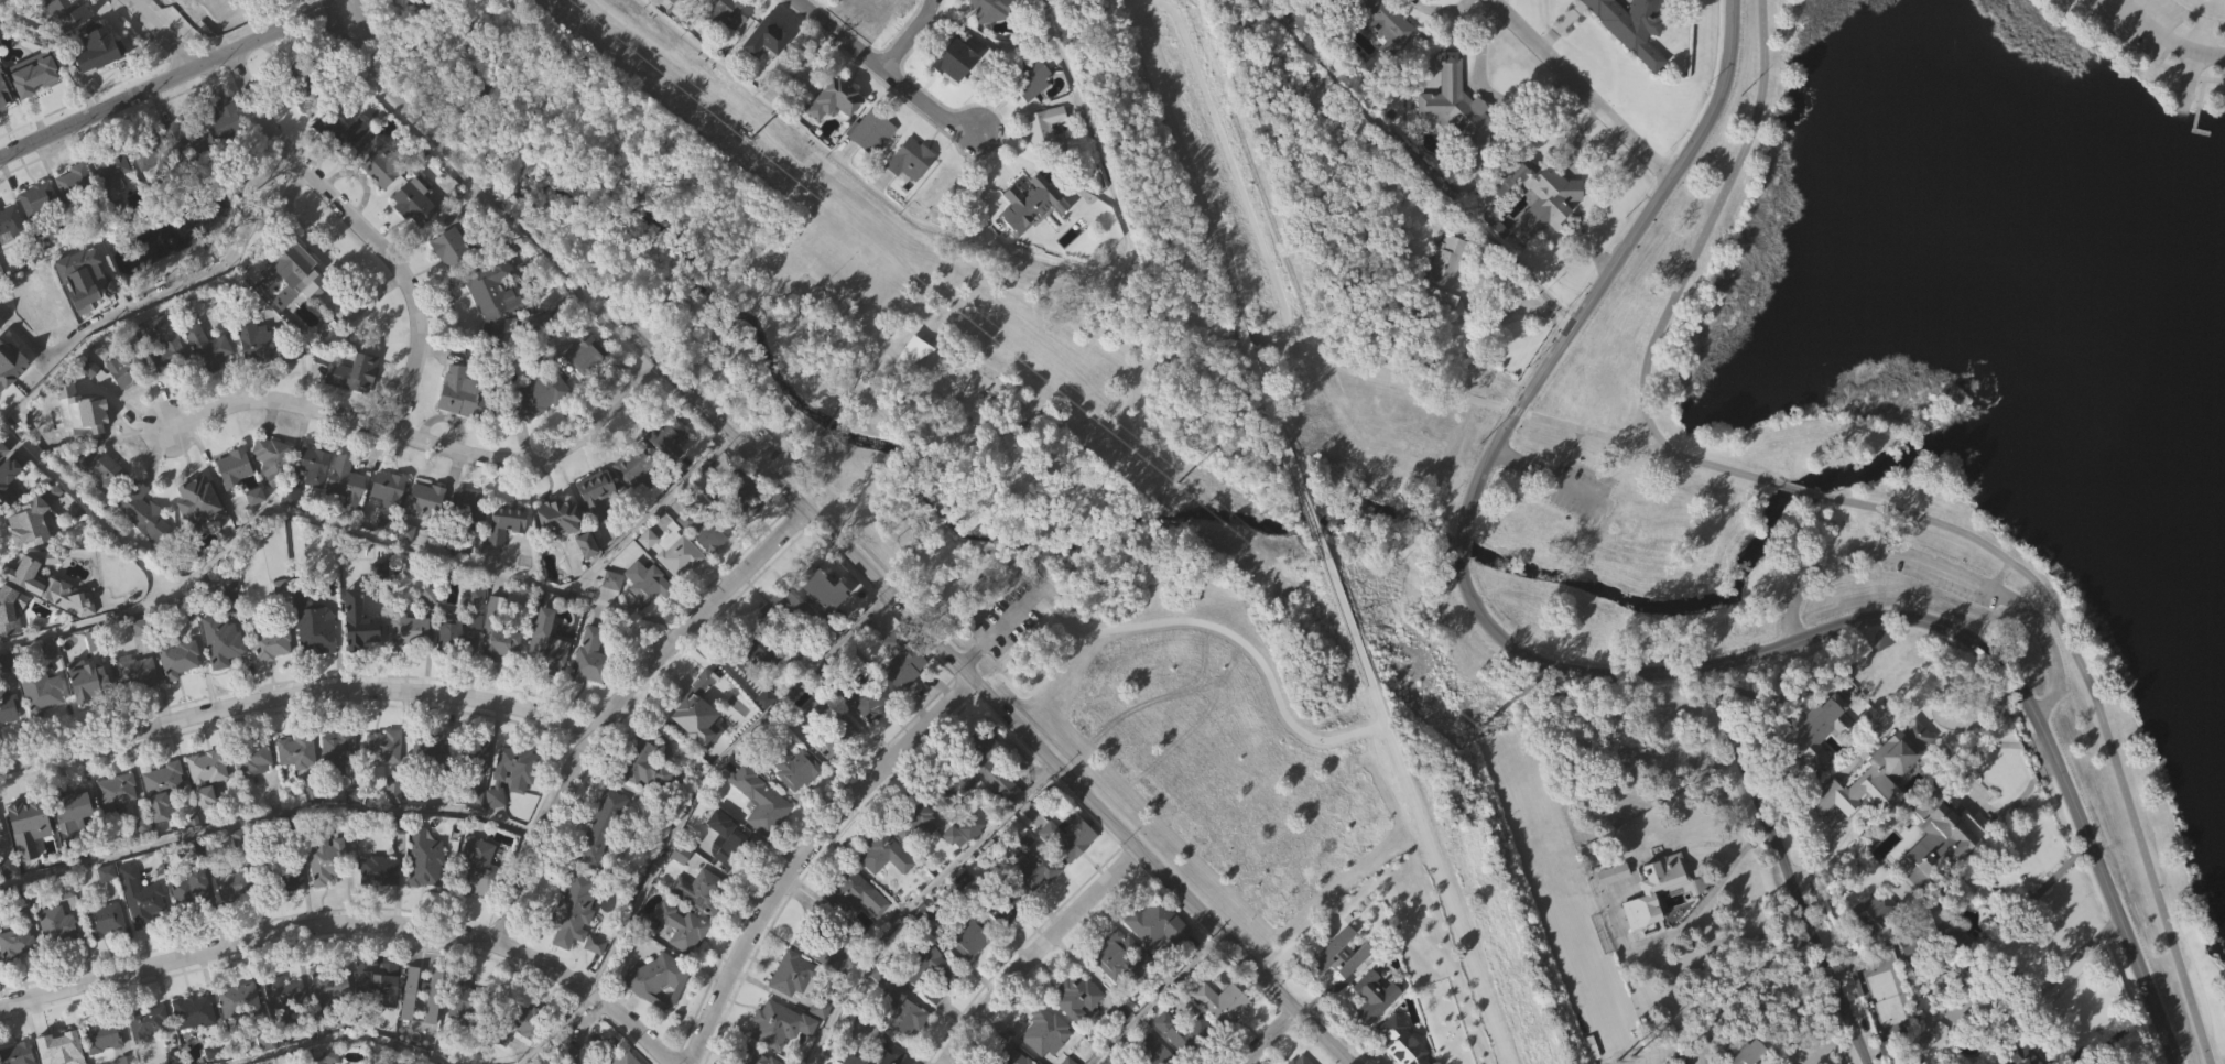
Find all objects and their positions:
building: (1337, 0)
building: (692, 2)
building: (204, 6)
building: (831, 7)
building: (864, 7)
building: (33, 8)
building: (985, 9)
building: (66, 11)
building: (727, 13)
building: (1306, 15)
building: (1388, 19)
building: (868, 23)
building: (54, 24)
building: (1632, 26)
road: (289, 30)
parking lot: (2171, 33)
road: (163, 34)
road: (910, 37)
building: (991, 37)
building: (762, 39)
road: (2166, 40)
building: (729, 44)
building: (68, 45)
building: (1624, 45)
building: (91, 47)
building: (1381, 47)
road: (63, 53)
road: (215, 59)
building: (952, 59)
building: (319, 62)
building: (795, 70)
building: (767, 73)
road: (883, 73)
building: (35, 75)
building: (1029, 77)
building: (99, 80)
building: (7, 89)
road: (1582, 89)
building: (955, 93)
building: (829, 99)
building: (804, 106)
building: (34, 107)
building: (1031, 111)
building: (1456, 111)
road: (97, 113)
building: (224, 122)
building: (3, 126)
building: (1041, 126)
building: (337, 128)
building: (870, 130)
building: (835, 133)
building: (1455, 138)
power tower: (748, 139)
building: (187, 140)
road: (1179, 151)
building: (225, 153)
building: (151, 154)
road: (1227, 158)
building: (909, 160)
building: (1043, 160)
road: (1413, 161)
building: (384, 163)
building: (340, 164)
building: (112, 165)
building: (872, 165)
building: (186, 172)
building: (77, 184)
building: (1024, 186)
building: (946, 187)
building: (148, 189)
building: (911, 193)
building: (1538, 194)
building: (378, 198)
building: (40, 199)
building: (415, 203)
road: (981, 204)
building: (116, 206)
building: (76, 214)
building: (10, 219)
building: (1028, 220)
building: (945, 221)
building: (1540, 228)
road: (361, 230)
building: (39, 231)
building: (415, 236)
building: (454, 242)
road: (986, 243)
building: (1081, 251)
building: (11, 257)
building: (1499, 261)
road: (1611, 267)
building: (301, 272)
building: (1442, 273)
road: (189, 278)
road: (973, 278)
building: (452, 281)
road: (1681, 283)
building: (495, 297)
building: (299, 304)
building: (1445, 306)
building: (495, 328)
road: (1224, 330)
road: (1246, 335)
building: (257, 340)
building: (165, 343)
building: (207, 348)
building: (582, 349)
building: (901, 350)
building: (128, 369)
building: (86, 372)
building: (356, 374)
building: (258, 376)
building: (166, 378)
building: (209, 380)
building: (585, 383)
building: (915, 383)
building: (469, 390)
building: (538, 395)
building: (11, 398)
road: (1125, 401)
building: (126, 402)
road: (1486, 402)
road: (840, 405)
building: (355, 406)
road: (1276, 414)
park: (1886, 414)
building: (85, 417)
road: (1634, 425)
building: (464, 426)
building: (540, 430)
road: (426, 438)
building: (665, 442)
road: (1574, 444)
building: (3, 448)
building: (83, 449)
road: (805, 449)
building: (273, 459)
building: (315, 465)
building: (235, 467)
building: (633, 467)
building: (666, 469)
building: (100, 470)
road: (1018, 473)
road: (1592, 473)
road: (1550, 477)
building: (11, 481)
building: (347, 482)
power tower: (1176, 486)
building: (273, 489)
building: (390, 489)
road: (1802, 491)
parking lot: (1577, 492)
building: (253, 496)
building: (598, 496)
building: (315, 498)
building: (427, 499)
building: (235, 500)
building: (636, 501)
building: (102, 502)
building: (200, 502)
road: (1312, 507)
building: (468, 508)
building: (727, 509)
building: (144, 513)
building: (348, 514)
building: (564, 515)
building: (37, 517)
building: (596, 520)
building: (507, 521)
building: (388, 523)
park: (1332, 525)
building: (291, 526)
building: (256, 529)
building: (202, 531)
building: (425, 532)
road: (378, 538)
building: (468, 539)
building: (752, 540)
road: (1459, 541)
road: (833, 542)
building: (144, 545)
building: (560, 549)
building: (36, 550)
building: (510, 550)
building: (677, 552)
road: (1014, 554)
building: (386, 558)
building: (408, 564)
building: (714, 566)
road: (1942, 572)
building: (813, 575)
parking lot: (1944, 575)
road: (1998, 575)
building: (587, 577)
building: (638, 580)
building: (679, 586)
building: (381, 602)
building: (475, 605)
building: (11, 609)
building: (780, 612)
building: (641, 615)
building: (52, 616)
building: (282, 619)
road: (1918, 620)
building: (359, 621)
building: (314, 622)
building: (825, 623)
building: (410, 629)
building: (498, 630)
road: (995, 632)
building: (456, 637)
building: (272, 639)
building: (478, 640)
building: (223, 641)
building: (12, 642)
building: (785, 644)
building: (97, 645)
building: (543, 649)
building: (748, 649)
building: (360, 653)
building: (180, 658)
building: (314, 658)
building: (588, 658)
building: (899, 660)
building: (410, 664)
building: (500, 665)
building: (455, 669)
building: (137, 671)
building: (225, 672)
building: (272, 676)
building: (547, 676)
building: (90, 684)
building: (591, 690)
building: (182, 692)
building: (44, 693)
building: (760, 693)
building: (902, 694)
building: (865, 697)
road: (294, 698)
road: (616, 704)
building: (137, 706)
building: (9, 707)
road: (2097, 707)
building: (88, 713)
building: (42, 724)
building: (1816, 730)
building: (766, 731)
building: (870, 731)
power tower: (1485, 731)
building: (834, 735)
building: (9, 742)
building: (697, 743)
building: (384, 745)
building: (428, 748)
building: (297, 750)
building: (337, 750)
building: (473, 753)
building: (1892, 756)
building: (252, 757)
building: (642, 761)
building: (987, 762)
building: (1819, 763)
building: (209, 766)
building: (795, 769)
building: (837, 769)
building: (514, 772)
road: (713, 775)
building: (384, 779)
building: (432, 782)
building: (300, 784)
building: (336, 784)
building: (476, 785)
building: (952, 786)
building: (164, 788)
road: (1965, 789)
building: (117, 791)
building: (253, 793)
building: (648, 796)
building: (991, 799)
building: (797, 802)
building: (1878, 804)
building: (763, 805)
building: (513, 806)
road: (1420, 806)
building: (208, 807)
building: (73, 812)
building: (29, 814)
road: (265, 814)
building: (910, 818)
building: (955, 818)
building: (164, 821)
building: (118, 823)
building: (603, 823)
building: (716, 823)
building: (970, 826)
building: (476, 827)
building: (761, 834)
building: (0, 835)
building: (74, 838)
building: (1940, 839)
building: (1049, 850)
building: (881, 853)
building: (326, 855)
building: (725, 855)
road: (807, 855)
building: (29, 857)
building: (426, 858)
building: (603, 859)
building: (964, 865)
building: (0, 866)
building: (478, 866)
road: (1784, 866)
building: (1070, 870)
building: (380, 871)
building: (1936, 871)
building: (286, 877)
building: (884, 886)
building: (235, 887)
building: (1653, 889)
building: (698, 890)
building: (426, 891)
building: (849, 891)
building: (326, 892)
building: (142, 895)
building: (477, 899)
building: (10, 900)
building: (999, 901)
building: (195, 902)
road: (913, 902)
building: (1035, 903)
building: (380, 904)
building: (1613, 906)
building: (572, 908)
building: (291, 910)
building: (923, 912)
building: (235, 918)
building: (105, 920)
building: (192, 922)
building: (702, 922)
building: (1654, 922)
building: (1155, 924)
building: (856, 926)
building: (680, 927)
building: (142, 929)
road: (351, 929)
building: (1925, 929)
building: (62, 933)
building: (968, 935)
building: (824, 938)
building: (17, 943)
building: (1874, 943)
building: (577, 945)
building: (1002, 945)
building: (1109, 951)
building: (106, 952)
road: (1034, 953)
building: (1337, 956)
building: (58, 957)
building: (1157, 957)
building: (683, 960)
building: (1944, 962)
building: (927, 968)
building: (972, 971)
road: (2059, 973)
building: (18, 974)
building: (790, 974)
building: (656, 980)
building: (375, 982)
building: (1114, 982)
building: (329, 985)
road: (1736, 985)
building: (1339, 988)
building: (419, 992)
building: (1074, 997)
building: (1374, 997)
building: (240, 1000)
building: (932, 1000)
building: (475, 1002)
building: (285, 1003)
building: (1219, 1003)
building: (793, 1007)
building: (195, 1011)
building: (899, 1011)
building: (380, 1012)
building: (659, 1012)
building: (1960, 1013)
building: (332, 1021)
building: (148, 1022)
building: (779, 1022)
building: (519, 1025)
building: (1175, 1028)
building: (1077, 1029)
building: (1375, 1029)
building: (465, 1030)
building: (1043, 1031)
building: (240, 1032)
building: (104, 1035)
building: (1229, 1036)
building: (1936, 1038)
road: (1269, 1039)
building: (821, 1041)
building: (1400, 1041)
building: (1960, 1041)
building: (59, 1042)
building: (1920, 1042)
building: (195, 1044)
building: (903, 1044)
road: (420, 1046)
building: (1122, 1046)
building: (150, 1051)
building: (520, 1051)
building: (782, 1052)
building: (1153, 1052)
building: (219, 1053)
building: (870, 1053)
building: (1049, 1053)
building: (18, 1054)
building: (594, 1054)
building: (1747, 1055)
building: (751, 1056)
building: (1196, 1056)
building: (2022, 1056)
building: (1008, 1057)
building: (326, 1058)
building: (105, 1060)
building: (127, 1060)
building: (1941, 1060)
building: (547, 1061)
building: (1299, 1061)
power tower: (1619, 1063)

